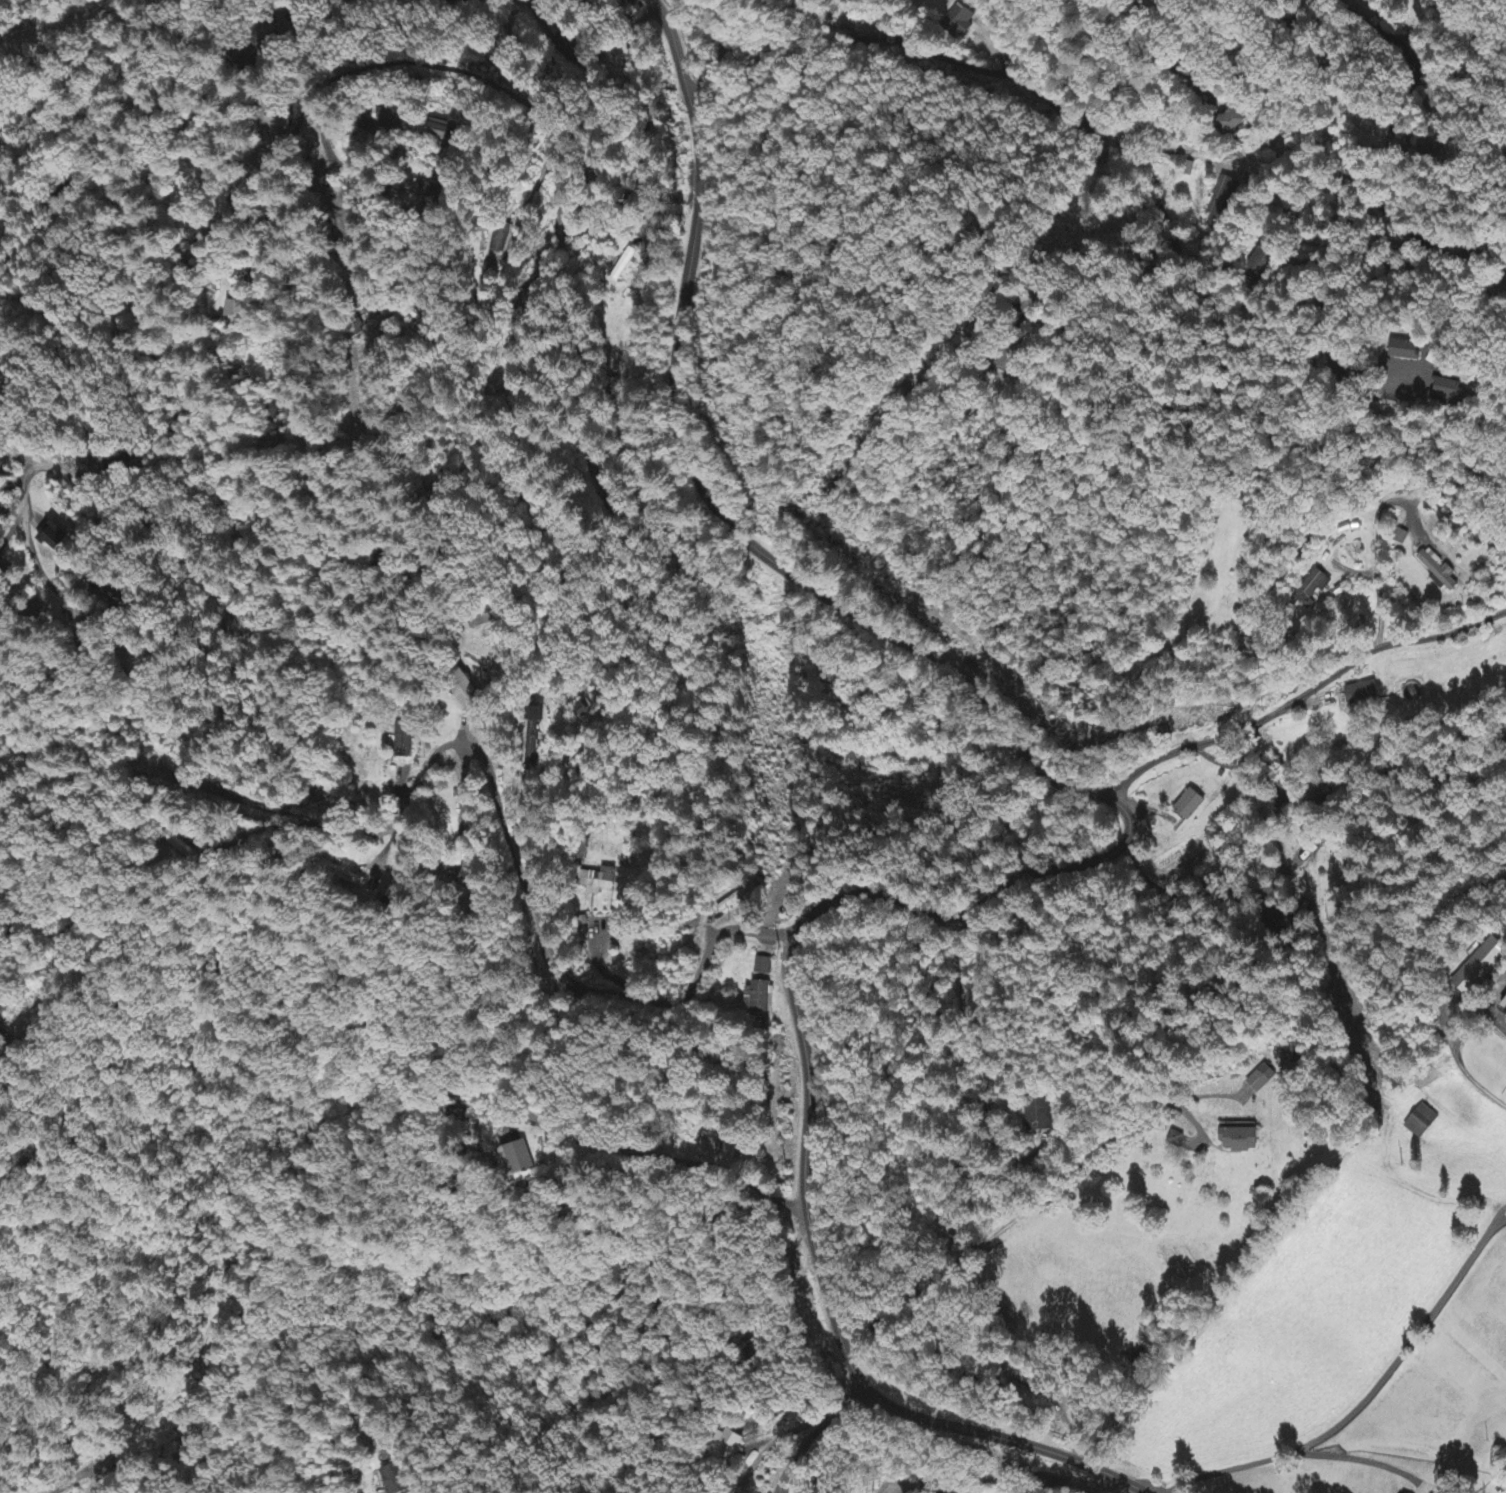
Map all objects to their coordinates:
road: (535, 14)
building: (961, 19)
road: (672, 40)
road: (998, 69)
road: (559, 86)
road: (1235, 89)
building: (1231, 120)
building: (392, 121)
building: (439, 131)
road: (415, 140)
road: (99, 144)
road: (295, 182)
building: (433, 195)
building: (1219, 203)
building: (498, 241)
road: (1217, 241)
road: (548, 252)
road: (1283, 259)
road: (382, 265)
road: (1307, 286)
road: (1119, 311)
building: (236, 313)
building: (1405, 351)
road: (1165, 387)
building: (1449, 391)
road: (337, 409)
road: (271, 458)
road: (137, 517)
building: (56, 539)
building: (1440, 573)
building: (1313, 587)
road: (113, 624)
road: (1295, 688)
building: (1362, 694)
building: (472, 699)
building: (534, 725)
building: (404, 741)
building: (854, 755)
building: (1191, 805)
building: (179, 844)
road: (509, 860)
road: (1107, 867)
building: (459, 871)
building: (343, 875)
building: (598, 881)
building: (763, 966)
building: (1478, 966)
building: (761, 997)
road: (1479, 1037)
building: (1262, 1079)
building: (1037, 1117)
building: (1422, 1122)
building: (1241, 1138)
building: (1177, 1139)
building: (522, 1158)
road: (1472, 1279)
road: (220, 1337)
road: (1503, 1365)
road: (1371, 1378)
road: (573, 1421)
road: (795, 1431)
building: (731, 1445)
road: (77, 1478)
building: (393, 1480)

